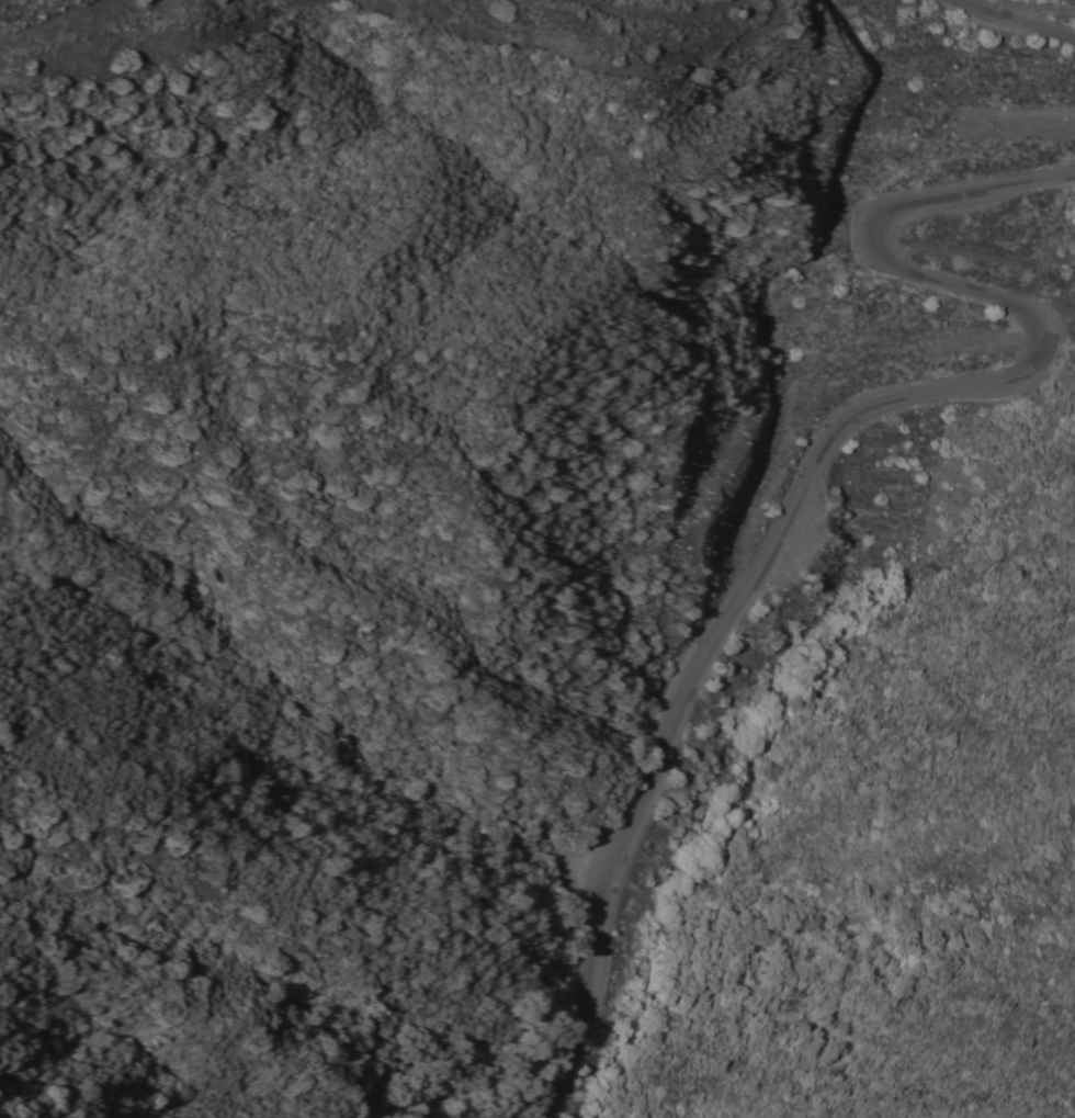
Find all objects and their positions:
road: (1011, 21)
road: (815, 460)

